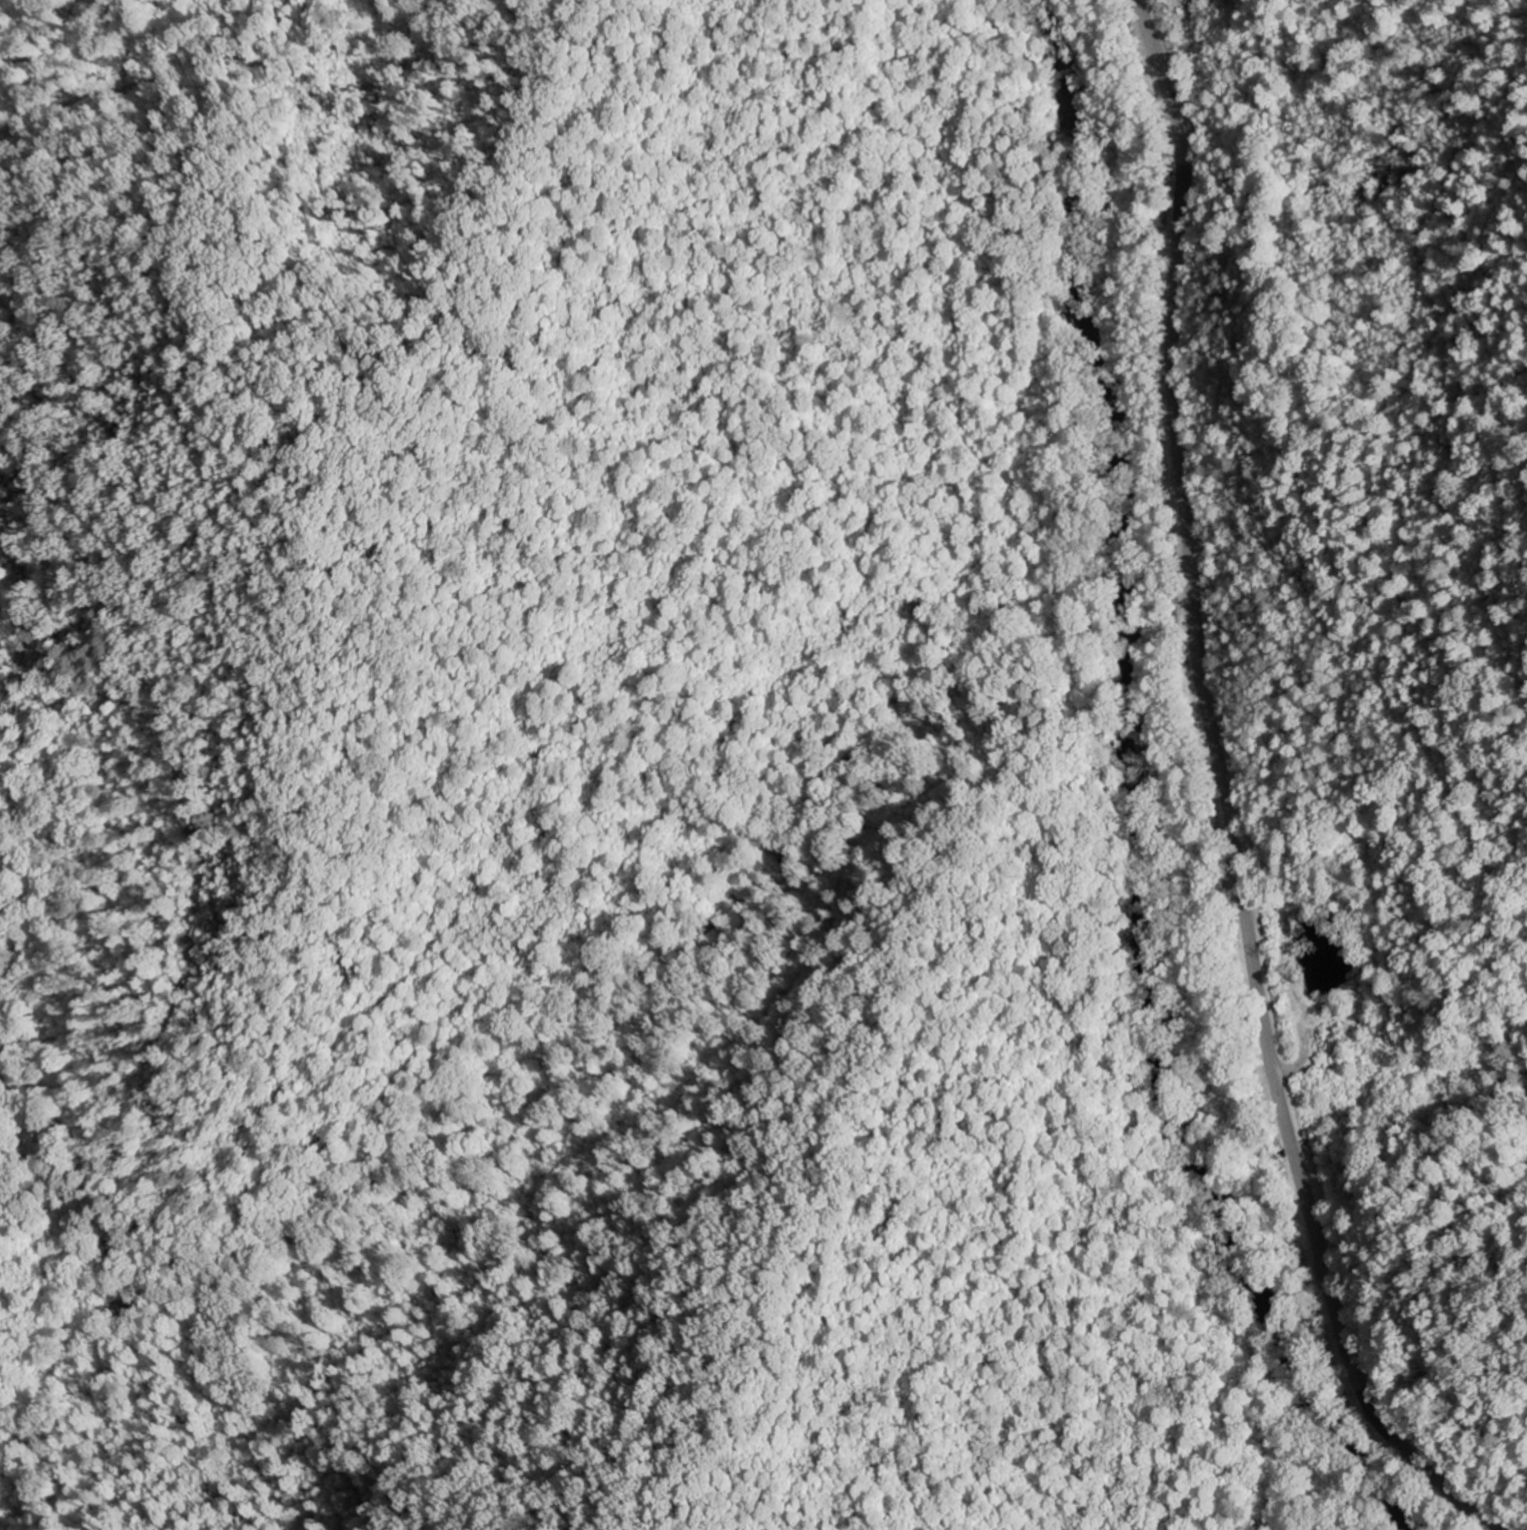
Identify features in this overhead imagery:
road: (1225, 792)

